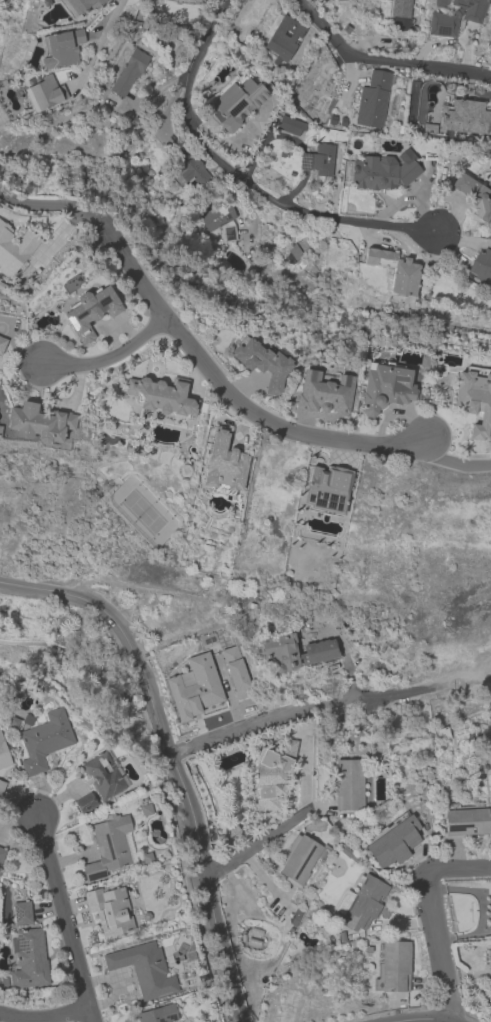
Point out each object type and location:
building: (80, 5)
building: (400, 7)
building: (455, 17)
building: (283, 37)
road: (98, 41)
building: (59, 48)
road: (382, 61)
building: (127, 71)
building: (43, 92)
building: (372, 99)
building: (236, 102)
building: (465, 116)
building: (321, 159)
building: (182, 166)
building: (383, 170)
road: (239, 175)
building: (474, 194)
road: (50, 204)
building: (216, 214)
road: (110, 235)
building: (14, 248)
building: (481, 265)
building: (393, 268)
building: (89, 310)
building: (2, 342)
road: (108, 357)
building: (263, 362)
building: (384, 385)
building: (323, 392)
building: (161, 395)
road: (240, 401)
building: (474, 401)
building: (38, 422)
road: (451, 463)
building: (223, 464)
building: (326, 486)
building: (294, 651)
building: (236, 671)
building: (194, 687)
road: (269, 717)
building: (43, 740)
building: (3, 754)
road: (171, 759)
building: (103, 772)
road: (303, 774)
building: (271, 777)
building: (1, 784)
building: (347, 784)
building: (85, 802)
building: (465, 821)
building: (231, 834)
road: (257, 841)
building: (393, 842)
building: (108, 846)
building: (1, 851)
building: (297, 859)
building: (359, 901)
building: (489, 907)
building: (109, 909)
building: (21, 912)
road: (430, 915)
road: (63, 918)
road: (402, 921)
building: (29, 959)
building: (394, 965)
building: (489, 966)
building: (143, 968)
building: (157, 1014)
road: (44, 1016)
road: (419, 1018)

